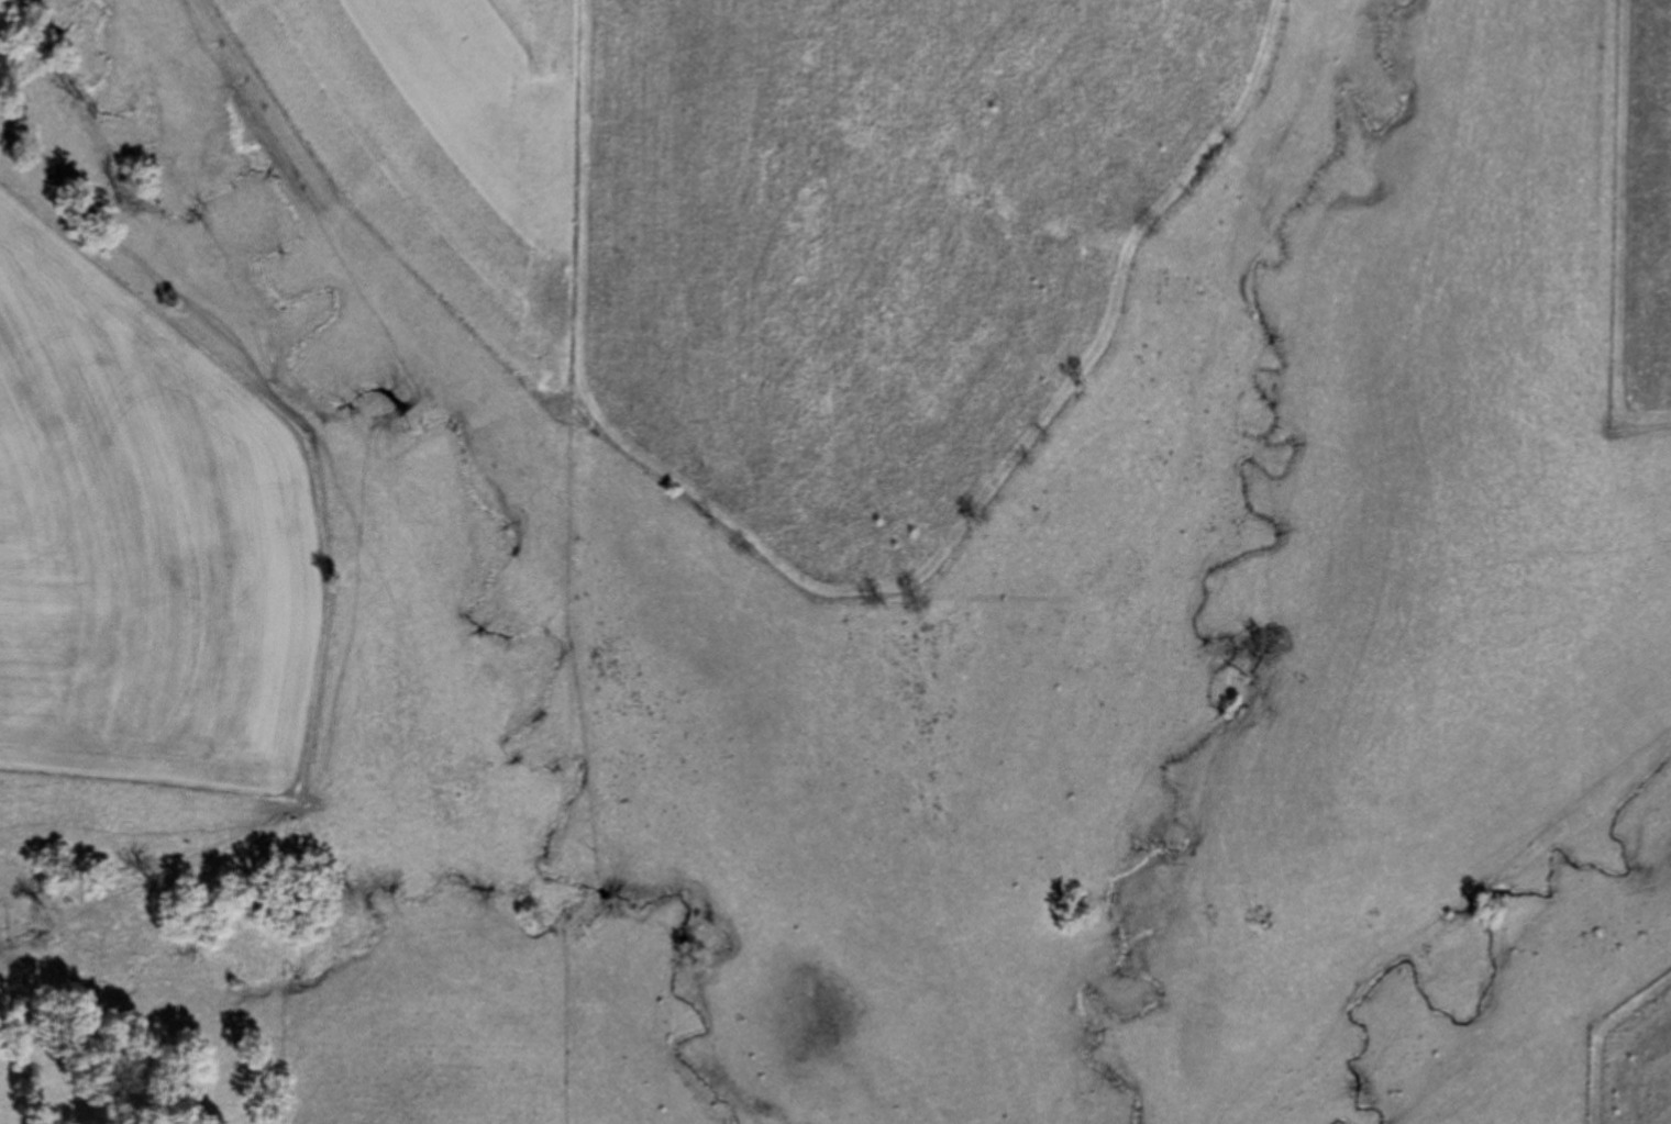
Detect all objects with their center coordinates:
road: (1622, 182)
road: (1625, 412)
road: (866, 583)

